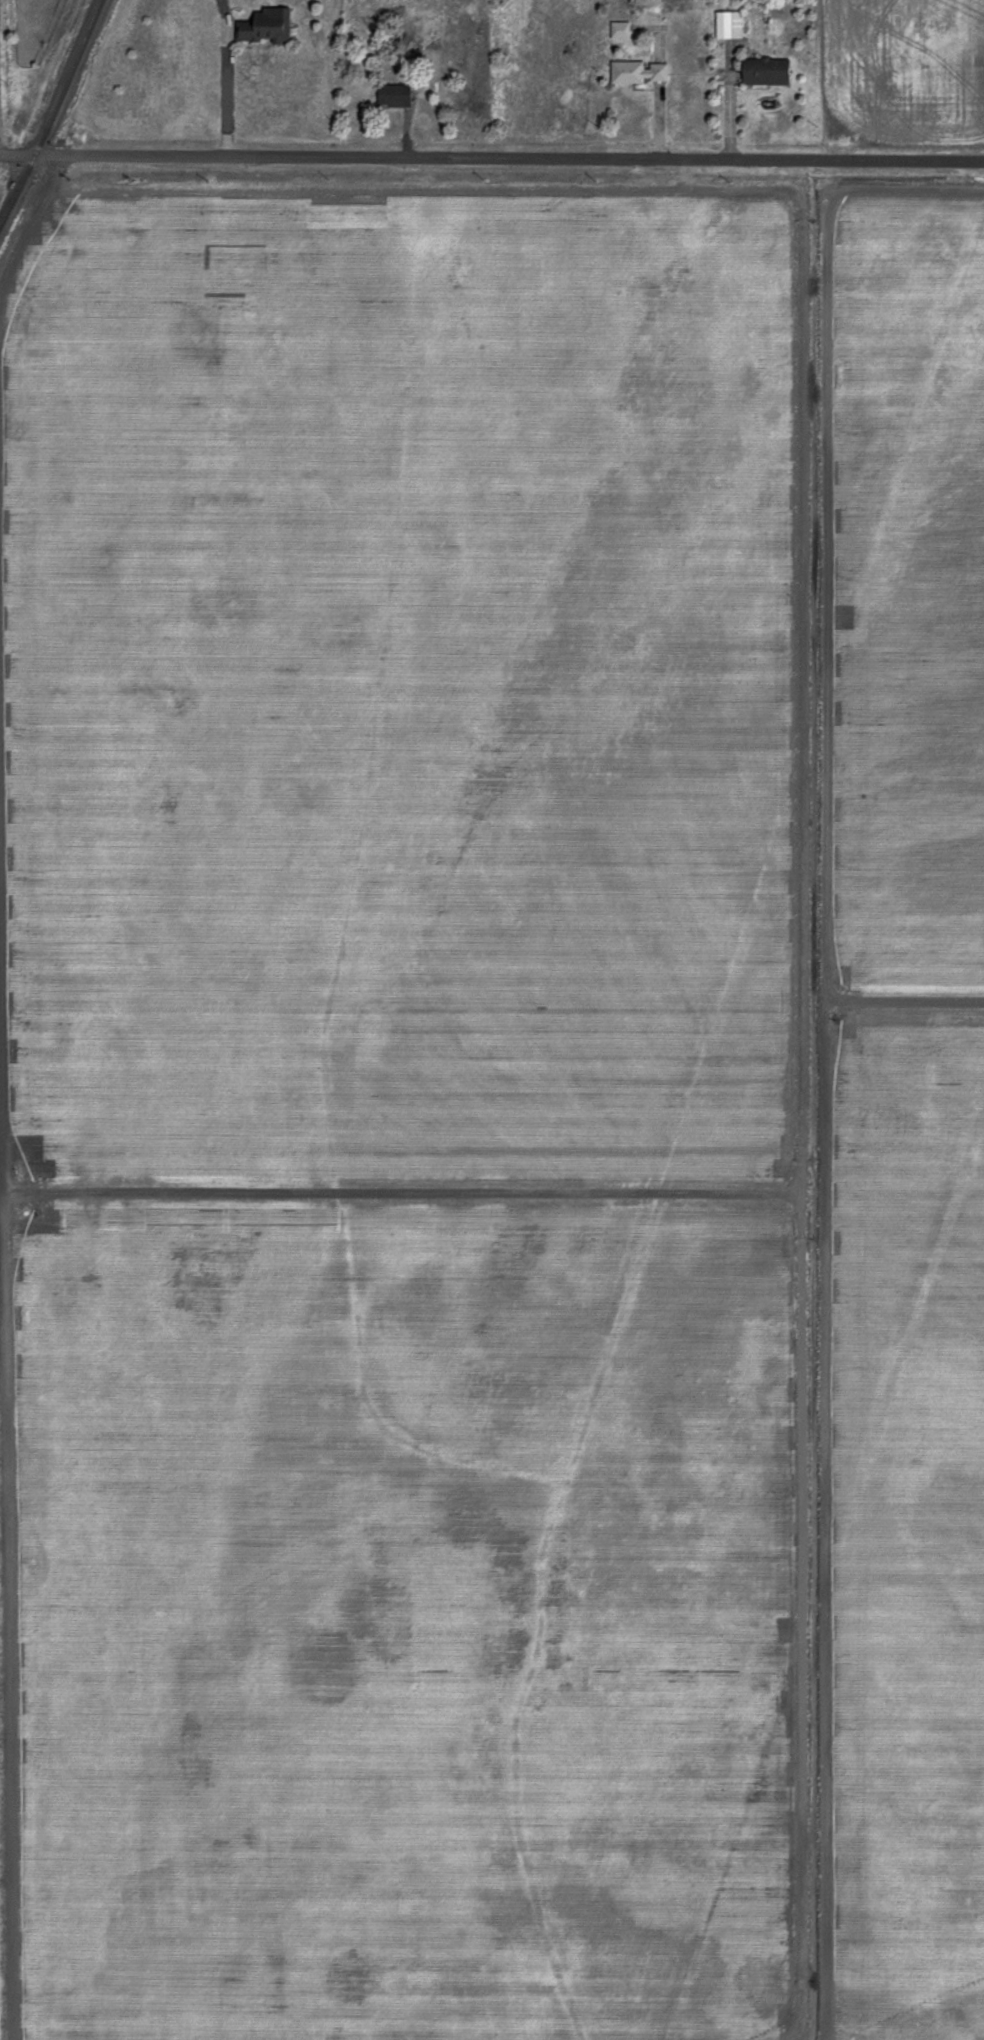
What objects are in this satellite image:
building: (726, 24)
building: (263, 25)
building: (634, 71)
building: (761, 71)
road: (225, 88)
building: (390, 95)
road: (728, 107)
road: (660, 109)
railway: (53, 112)
road: (491, 160)

